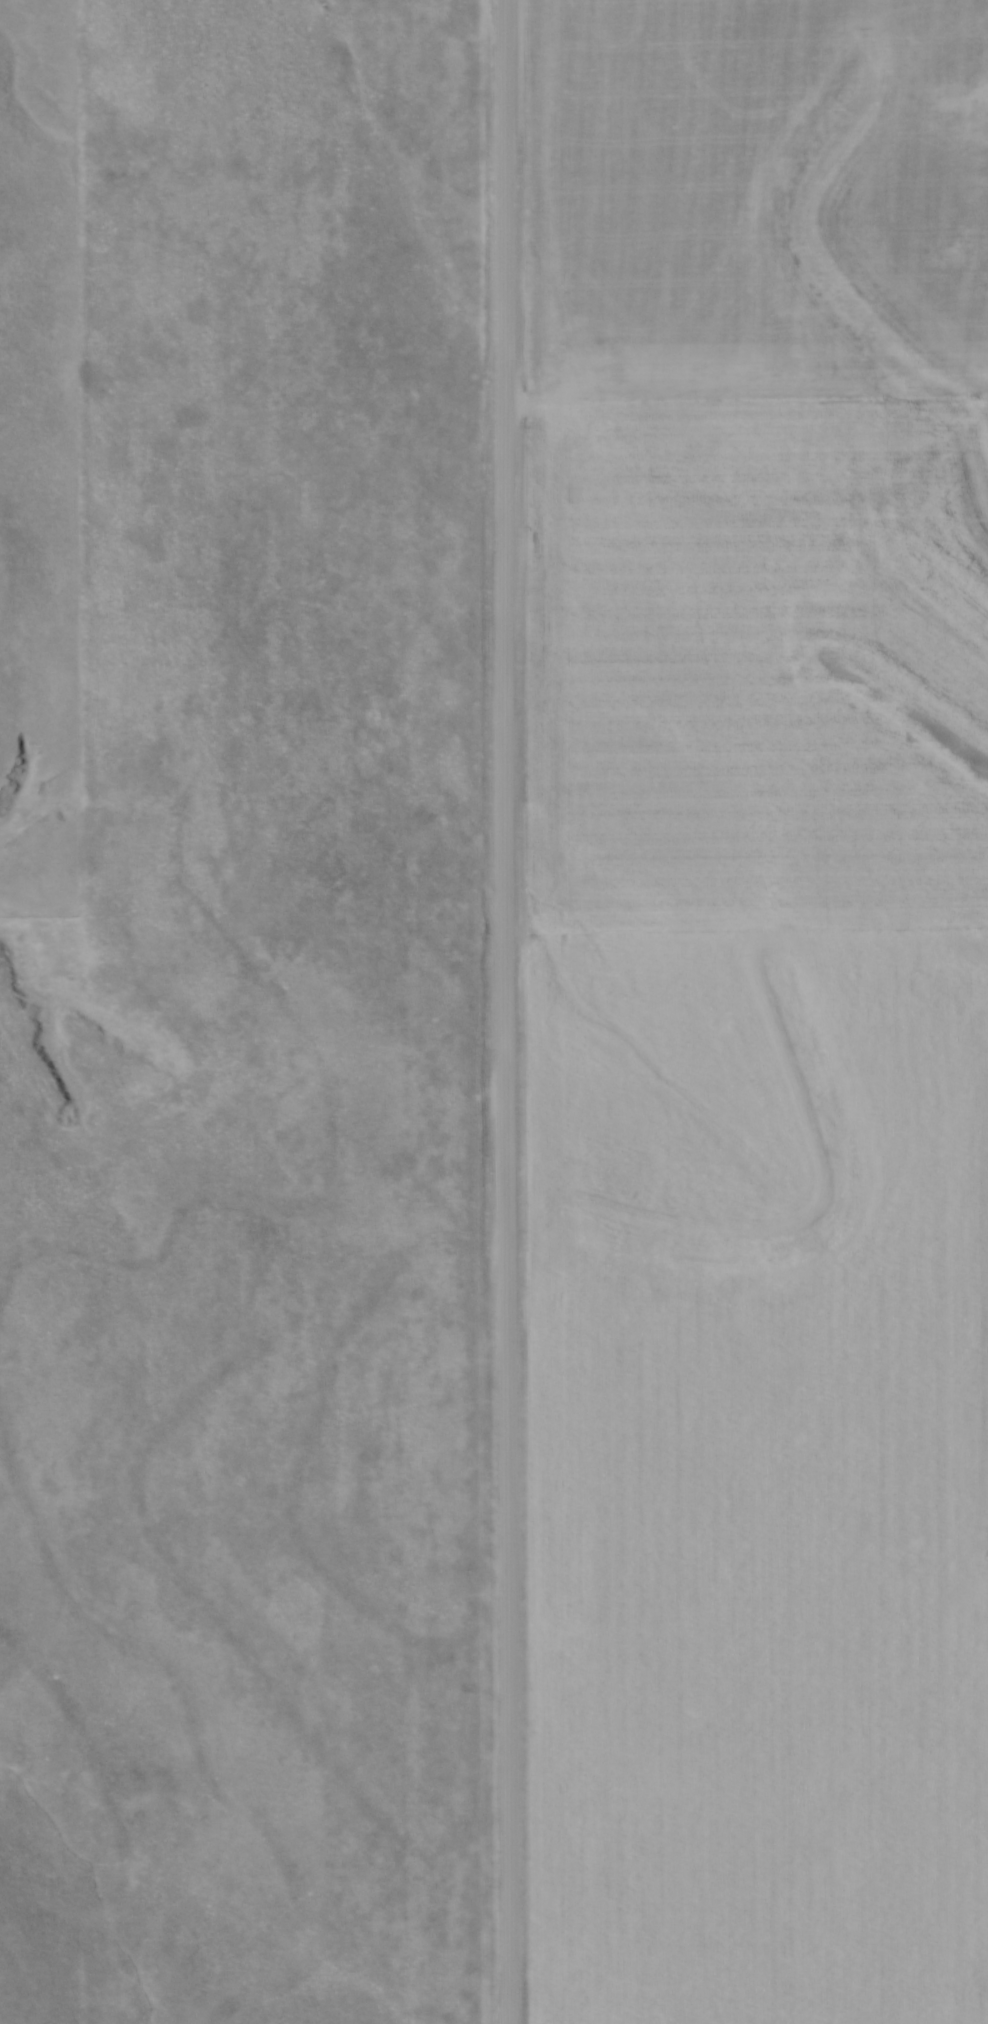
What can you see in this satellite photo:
road: (507, 1012)

